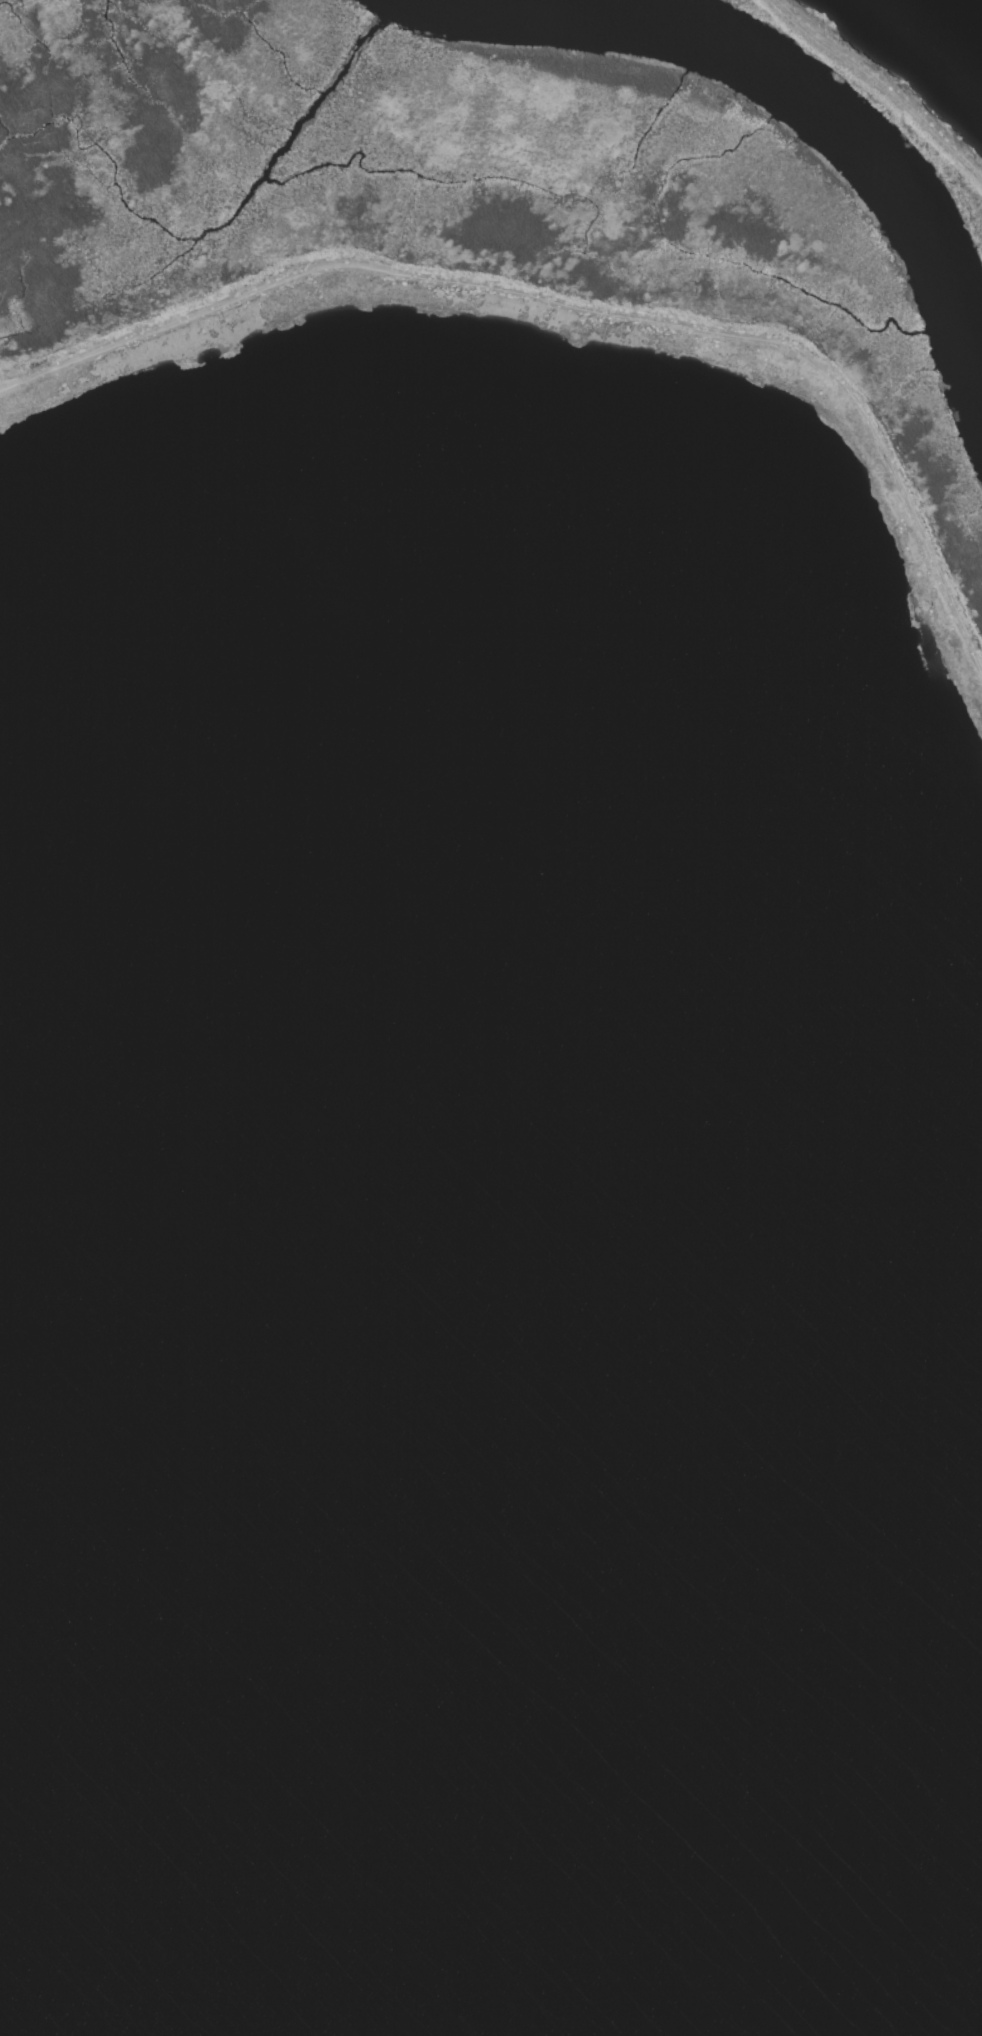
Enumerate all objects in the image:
road: (879, 86)
river: (790, 99)
road: (575, 305)

